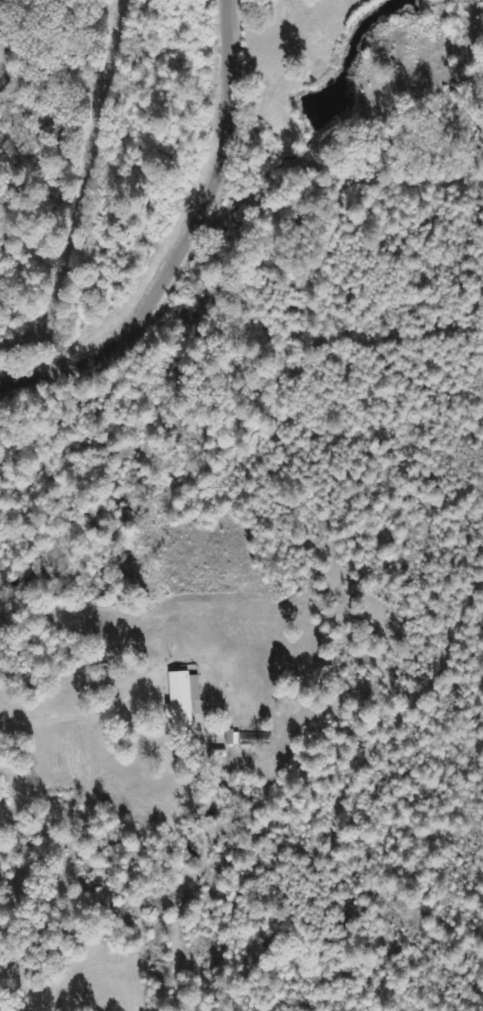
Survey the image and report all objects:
road: (191, 246)
building: (182, 696)
building: (248, 737)

